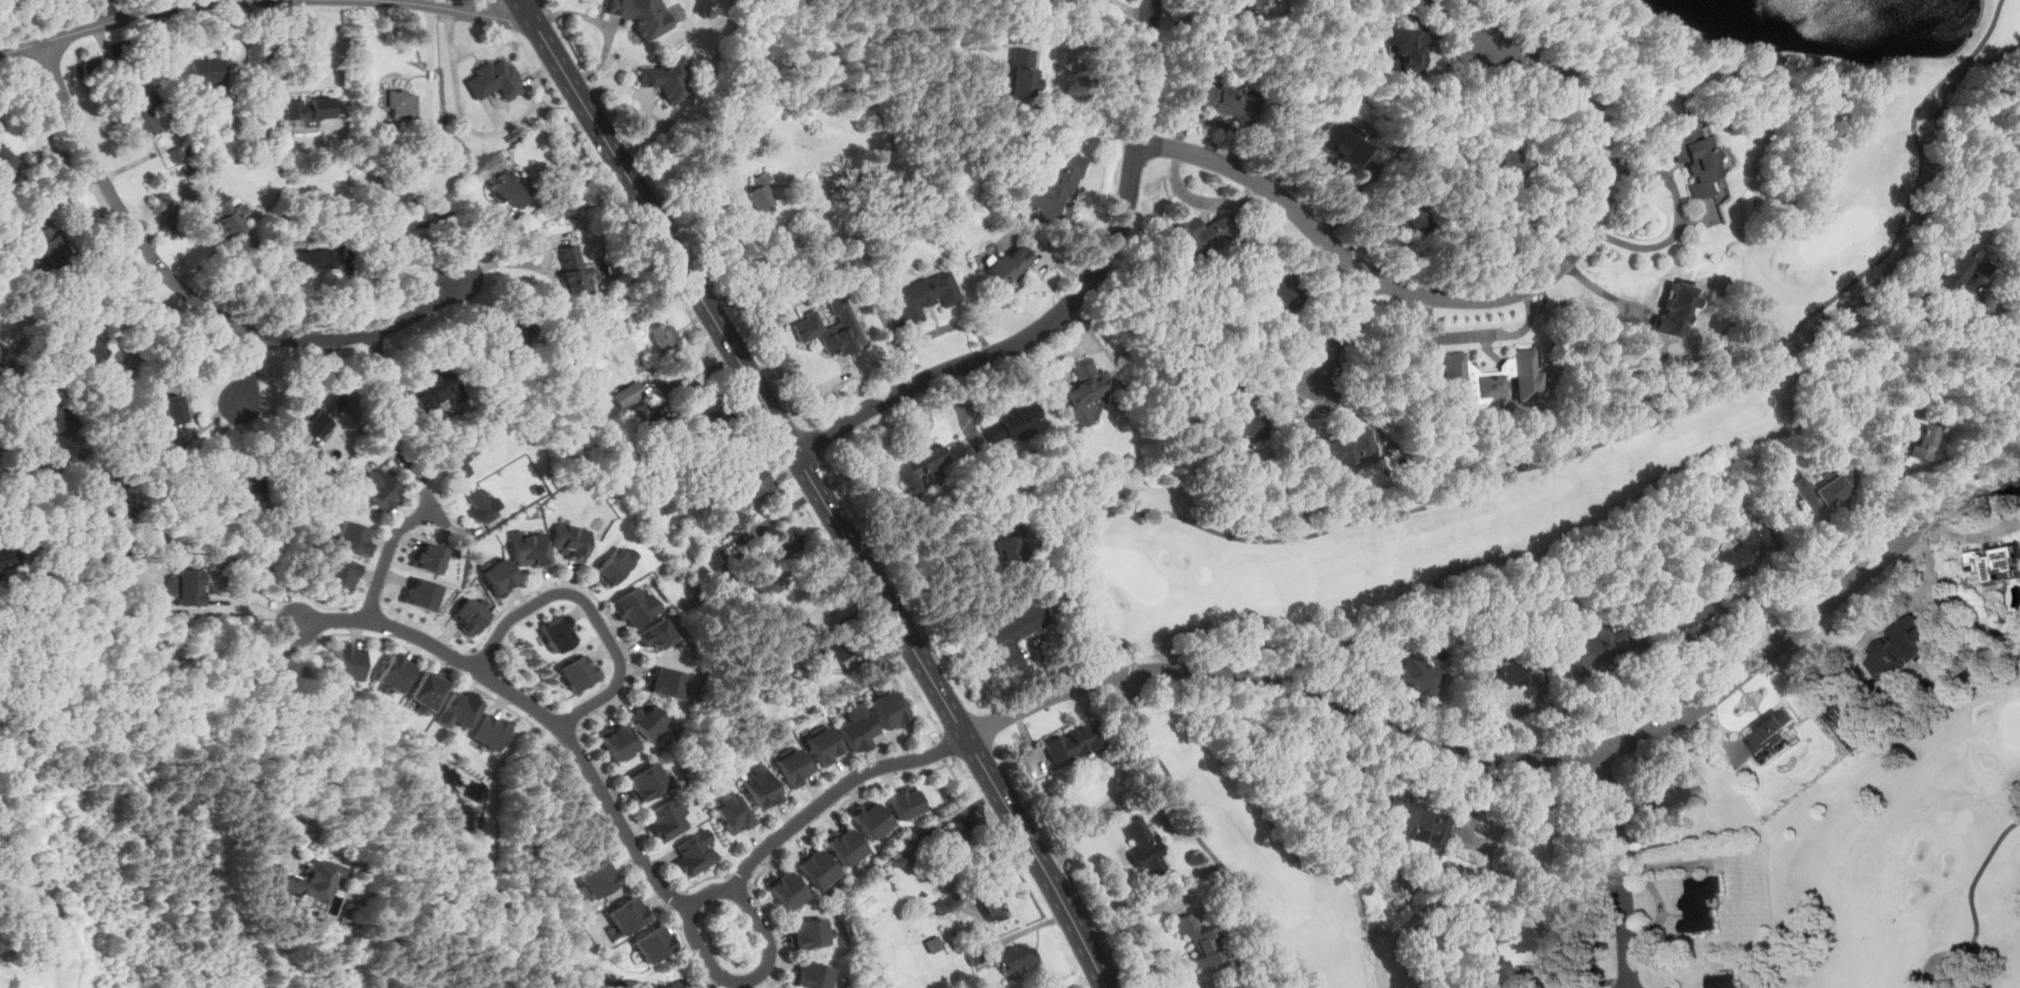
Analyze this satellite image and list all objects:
road: (278, 0)
road: (261, 1)
road: (482, 6)
building: (1253, 6)
road: (110, 11)
building: (643, 14)
road: (1082, 43)
building: (1405, 50)
road: (270, 55)
road: (430, 62)
building: (207, 74)
building: (1020, 74)
building: (669, 78)
building: (495, 79)
building: (1225, 101)
building: (401, 103)
building: (138, 108)
building: (308, 109)
road: (474, 131)
building: (1340, 144)
building: (1695, 155)
building: (6, 161)
building: (1511, 161)
building: (855, 173)
building: (1058, 180)
building: (509, 189)
building: (762, 194)
road: (1501, 212)
building: (1407, 216)
building: (228, 217)
road: (1678, 219)
building: (399, 224)
building: (1202, 231)
park: (1835, 233)
building: (51, 240)
road: (537, 242)
building: (309, 261)
building: (1962, 263)
building: (1010, 265)
building: (573, 271)
road: (752, 277)
building: (1274, 287)
road: (348, 289)
building: (928, 295)
road: (1477, 298)
road: (1074, 300)
road: (186, 301)
road: (1991, 318)
building: (832, 327)
road: (1344, 327)
building: (512, 335)
building: (667, 337)
building: (90, 343)
road: (248, 370)
building: (1453, 370)
building: (1526, 375)
road: (695, 378)
building: (1483, 384)
building: (435, 388)
building: (1086, 391)
building: (630, 393)
building: (333, 404)
building: (173, 408)
building: (641, 411)
building: (324, 413)
building: (1240, 415)
building: (710, 420)
building: (1012, 421)
building: (55, 422)
building: (312, 426)
building: (499, 427)
building: (1909, 435)
building: (476, 447)
building: (1341, 448)
building: (460, 460)
building: (918, 468)
road: (47, 474)
building: (240, 480)
building: (753, 481)
park: (1500, 484)
building: (380, 487)
building: (1824, 488)
road: (819, 491)
building: (486, 505)
building: (669, 506)
building: (127, 507)
road: (432, 507)
road: (1385, 510)
building: (986, 517)
building: (356, 538)
building: (570, 539)
building: (791, 540)
building: (1010, 542)
building: (528, 547)
building: (153, 549)
building: (1747, 549)
road: (386, 553)
building: (8, 557)
building: (428, 557)
building: (1997, 561)
building: (615, 564)
park: (1130, 571)
building: (345, 572)
building: (498, 575)
building: (191, 586)
building: (765, 587)
building: (695, 592)
building: (425, 593)
road: (962, 595)
road: (528, 597)
building: (633, 605)
road: (250, 609)
road: (591, 609)
road: (1887, 612)
building: (471, 613)
building: (793, 618)
building: (1683, 623)
building: (1018, 631)
building: (556, 632)
building: (654, 634)
road: (360, 635)
building: (836, 647)
building: (1597, 647)
building: (1899, 647)
building: (792, 654)
road: (469, 662)
building: (350, 663)
building: (396, 672)
building: (575, 672)
road: (631, 674)
building: (1416, 674)
building: (1504, 675)
building: (665, 683)
building: (431, 690)
road: (530, 704)
road: (506, 706)
road: (914, 707)
building: (887, 708)
building: (462, 710)
building: (648, 721)
park: (2013, 723)
building: (859, 727)
road: (952, 731)
building: (491, 733)
building: (1769, 734)
road: (568, 736)
road: (934, 739)
building: (616, 741)
building: (1076, 742)
road: (259, 743)
building: (824, 745)
road: (940, 750)
road: (964, 753)
road: (1522, 759)
building: (793, 767)
road: (956, 776)
building: (645, 782)
building: (762, 787)
building: (1670, 800)
building: (905, 802)
road: (817, 803)
road: (840, 807)
building: (732, 813)
building: (667, 819)
building: (872, 819)
building: (1414, 824)
road: (607, 830)
road: (1079, 832)
building: (957, 842)
building: (1145, 845)
building: (846, 846)
building: (694, 853)
park: (1913, 855)
building: (900, 861)
building: (816, 867)
road: (1618, 869)
building: (312, 879)
building: (599, 879)
road: (705, 881)
road: (739, 883)
building: (786, 889)
road: (1971, 896)
road: (679, 901)
building: (1701, 902)
building: (282, 903)
building: (948, 903)
building: (991, 905)
building: (627, 914)
road: (1130, 917)
road: (1550, 923)
building: (809, 933)
building: (1201, 937)
road: (780, 939)
building: (653, 943)
building: (934, 943)
road: (690, 950)
road: (1162, 953)
building: (977, 956)
building: (1017, 957)
building: (1490, 966)
building: (811, 975)
road: (746, 978)
building: (1723, 980)
building: (784, 987)
building: (785, 987)

